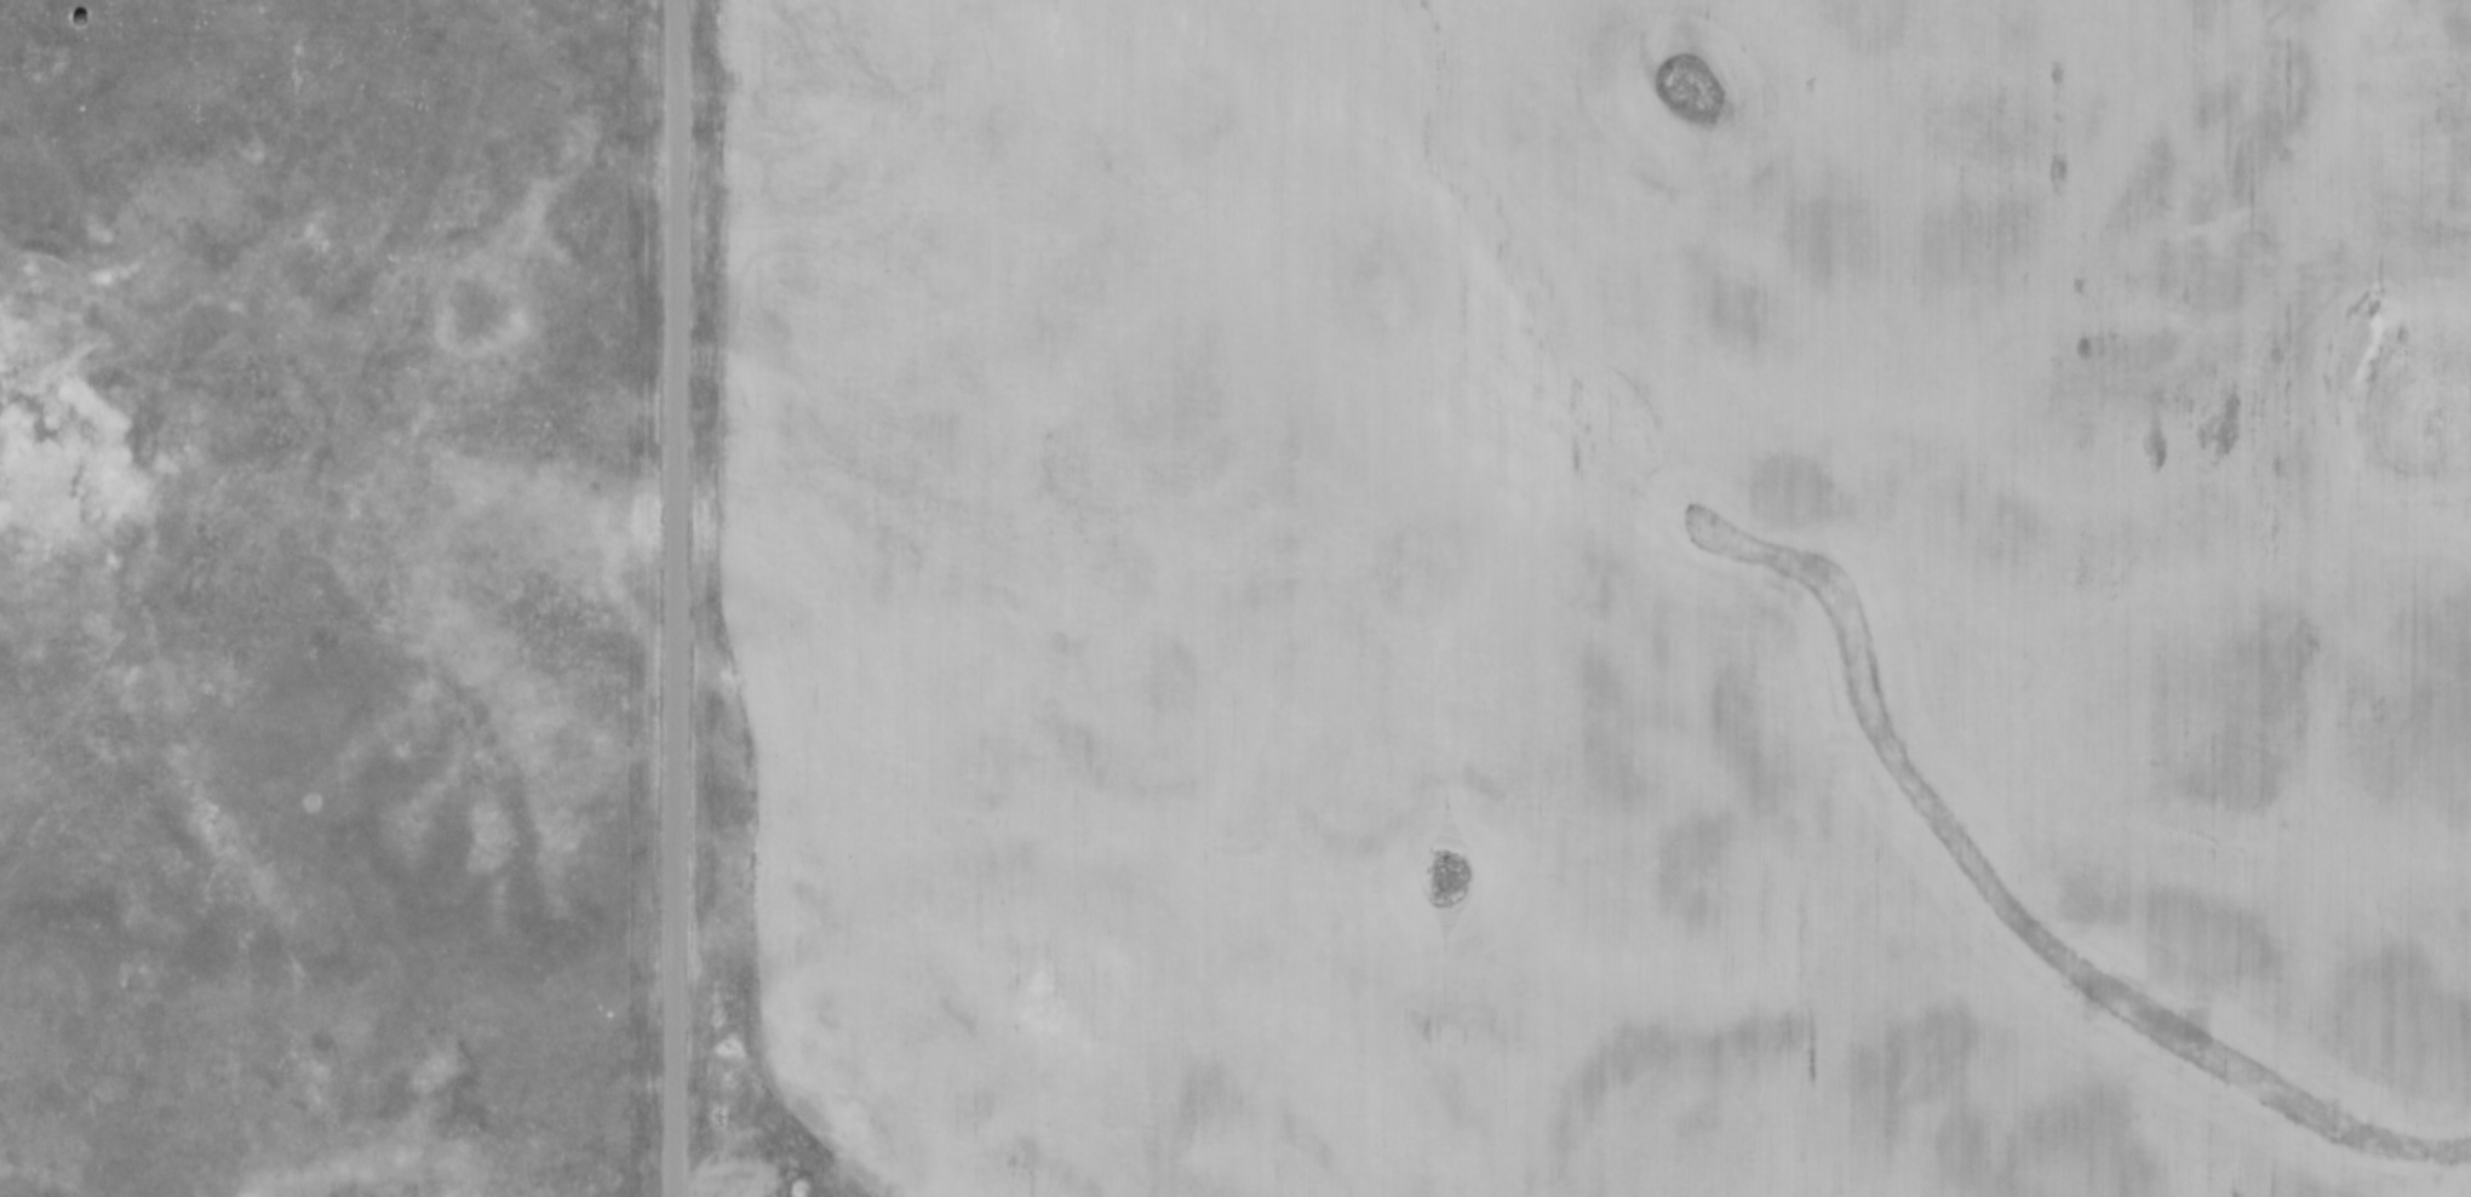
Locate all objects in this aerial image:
road: (677, 598)

